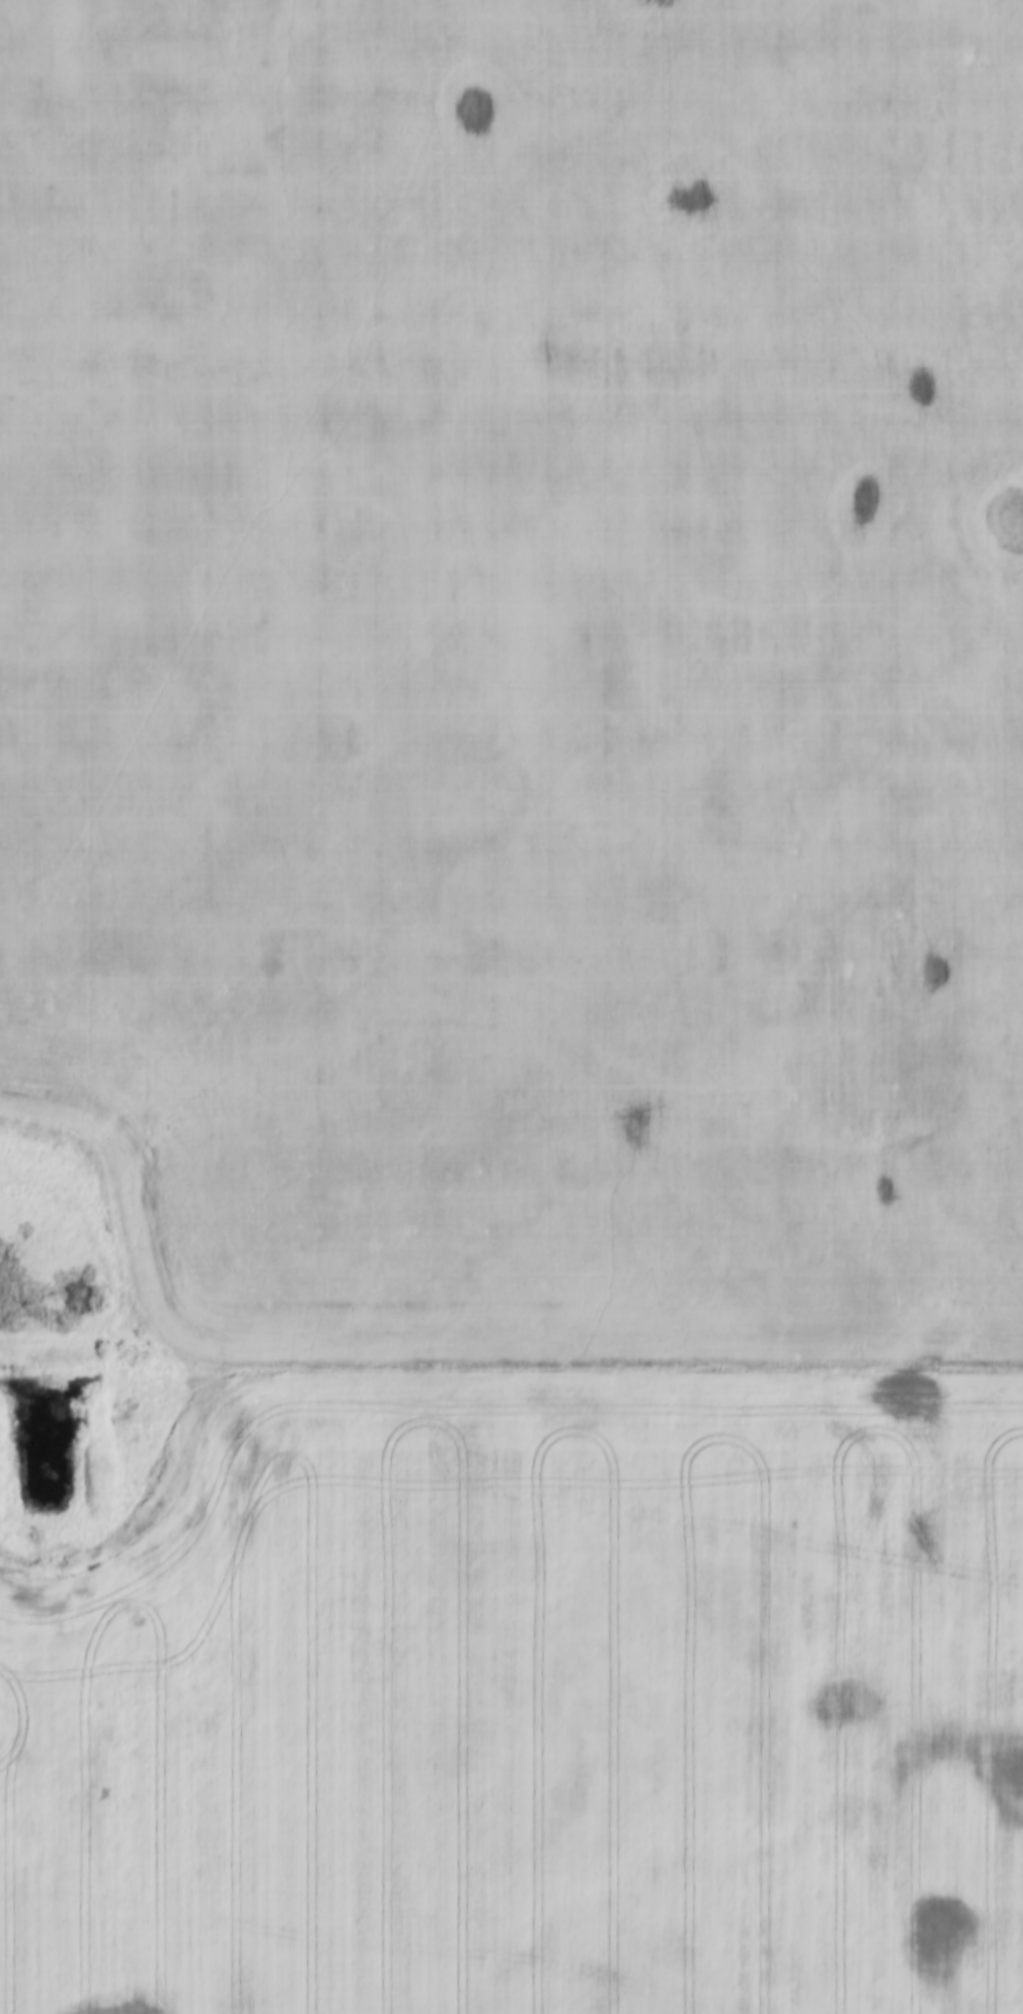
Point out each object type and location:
road: (66, 1713)

